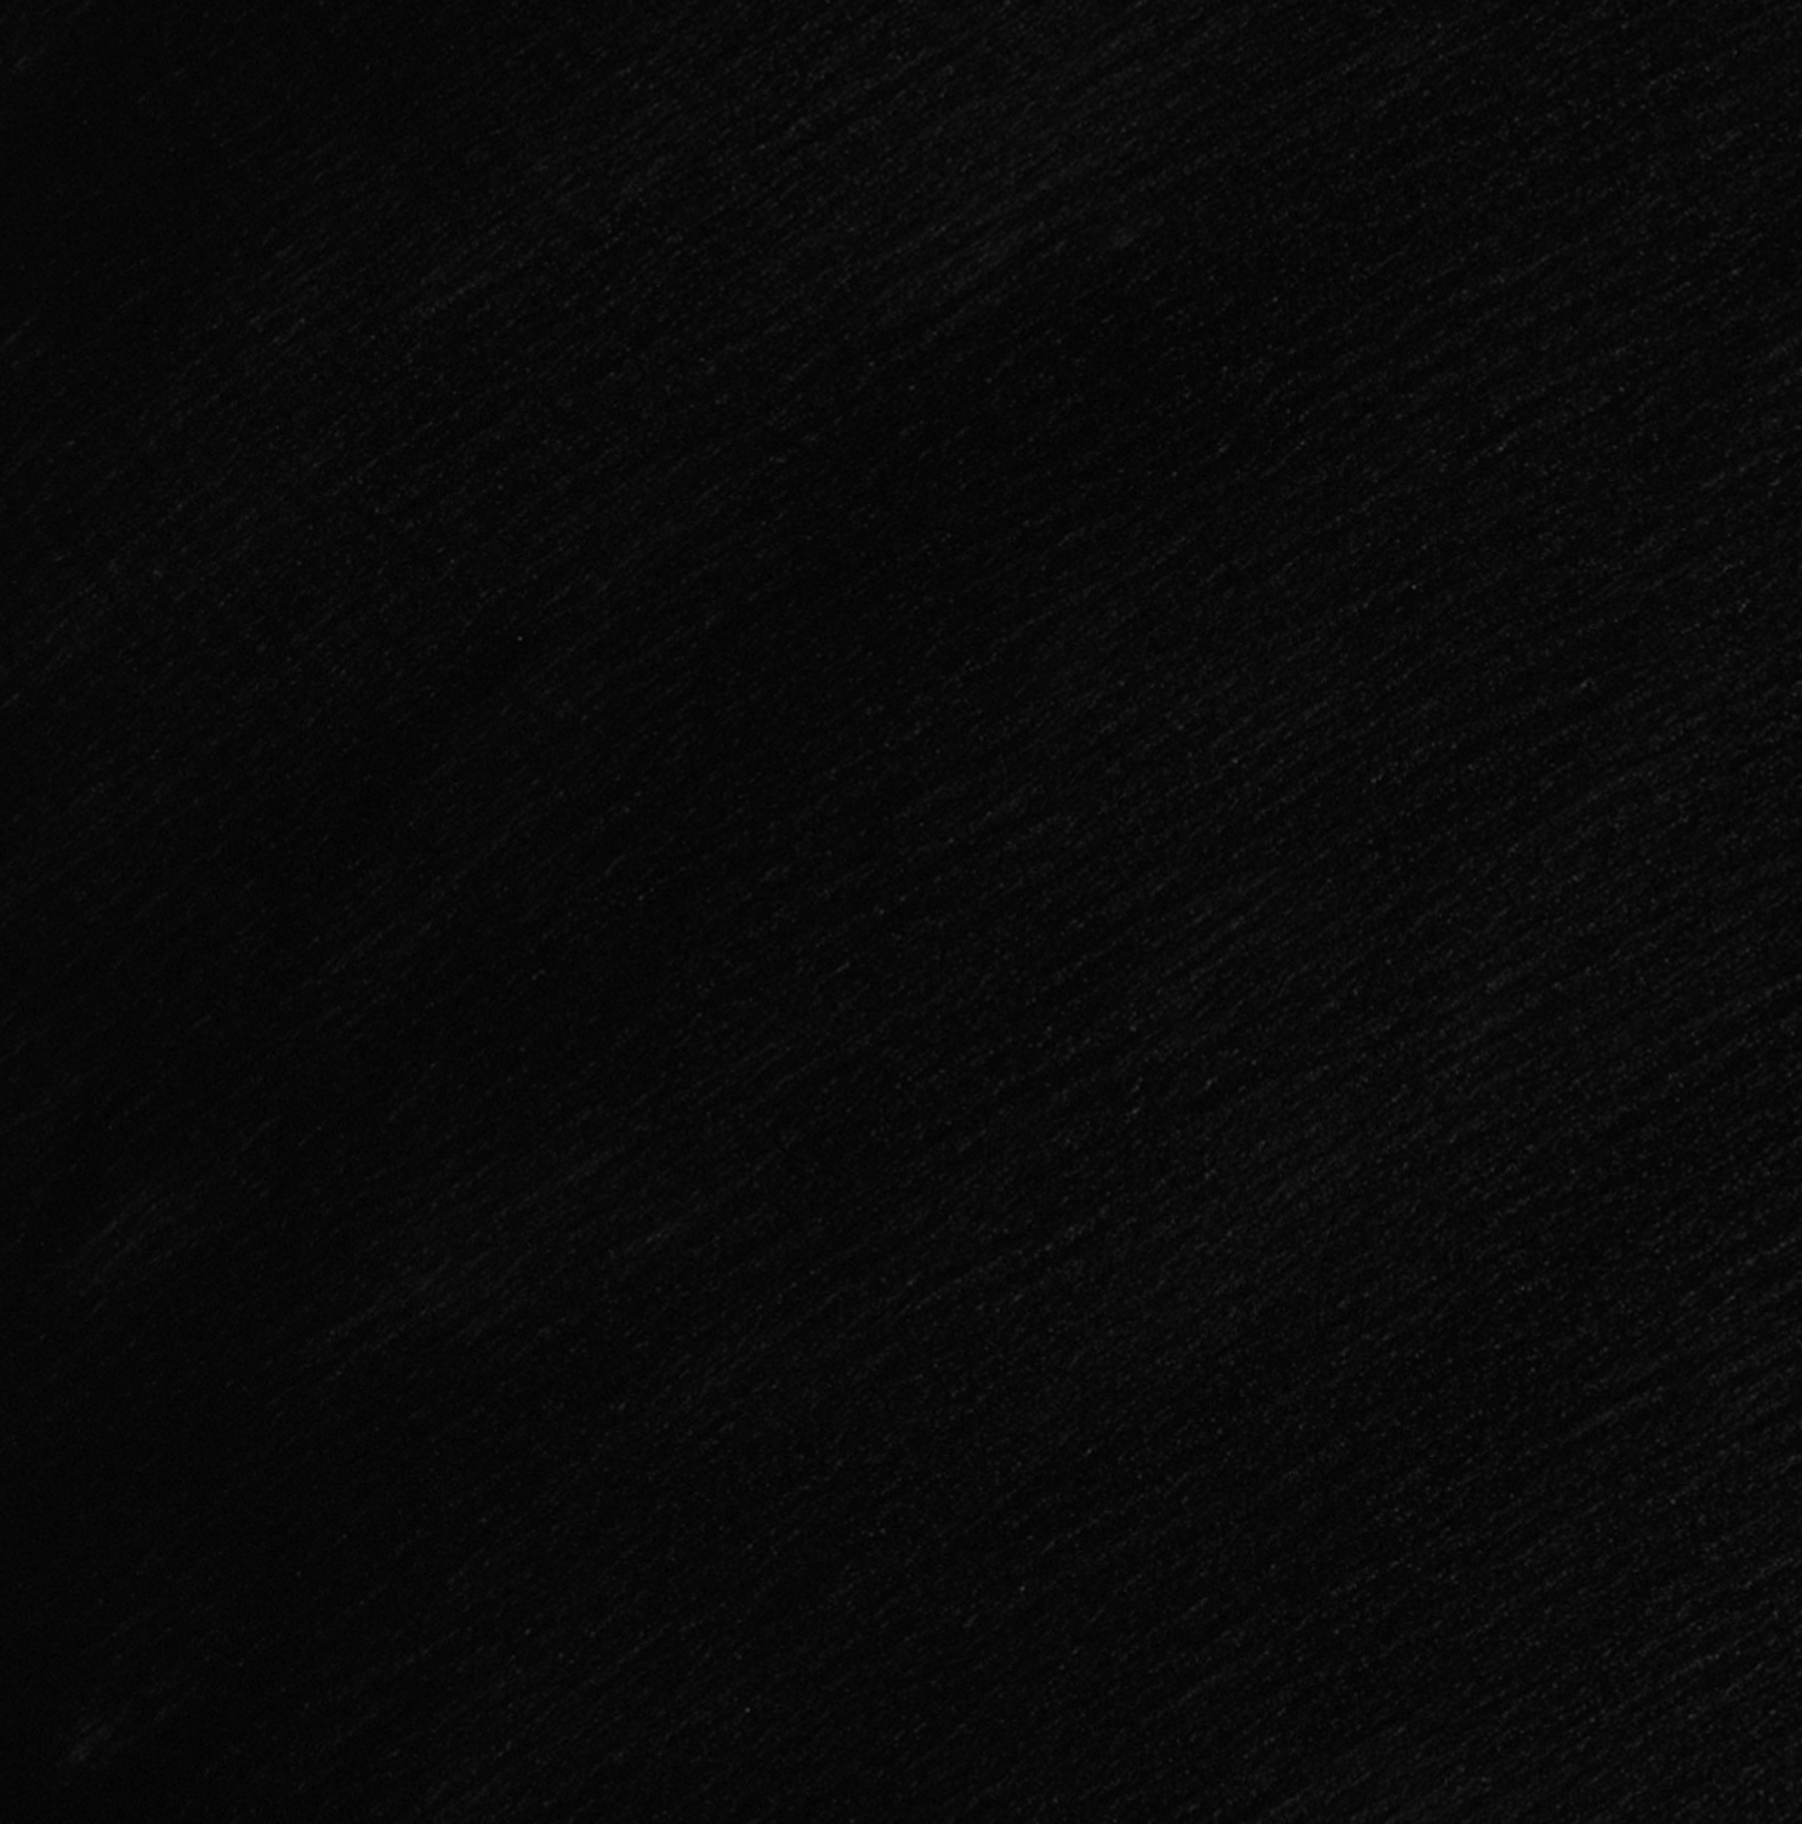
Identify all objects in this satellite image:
park: (4, 17)

